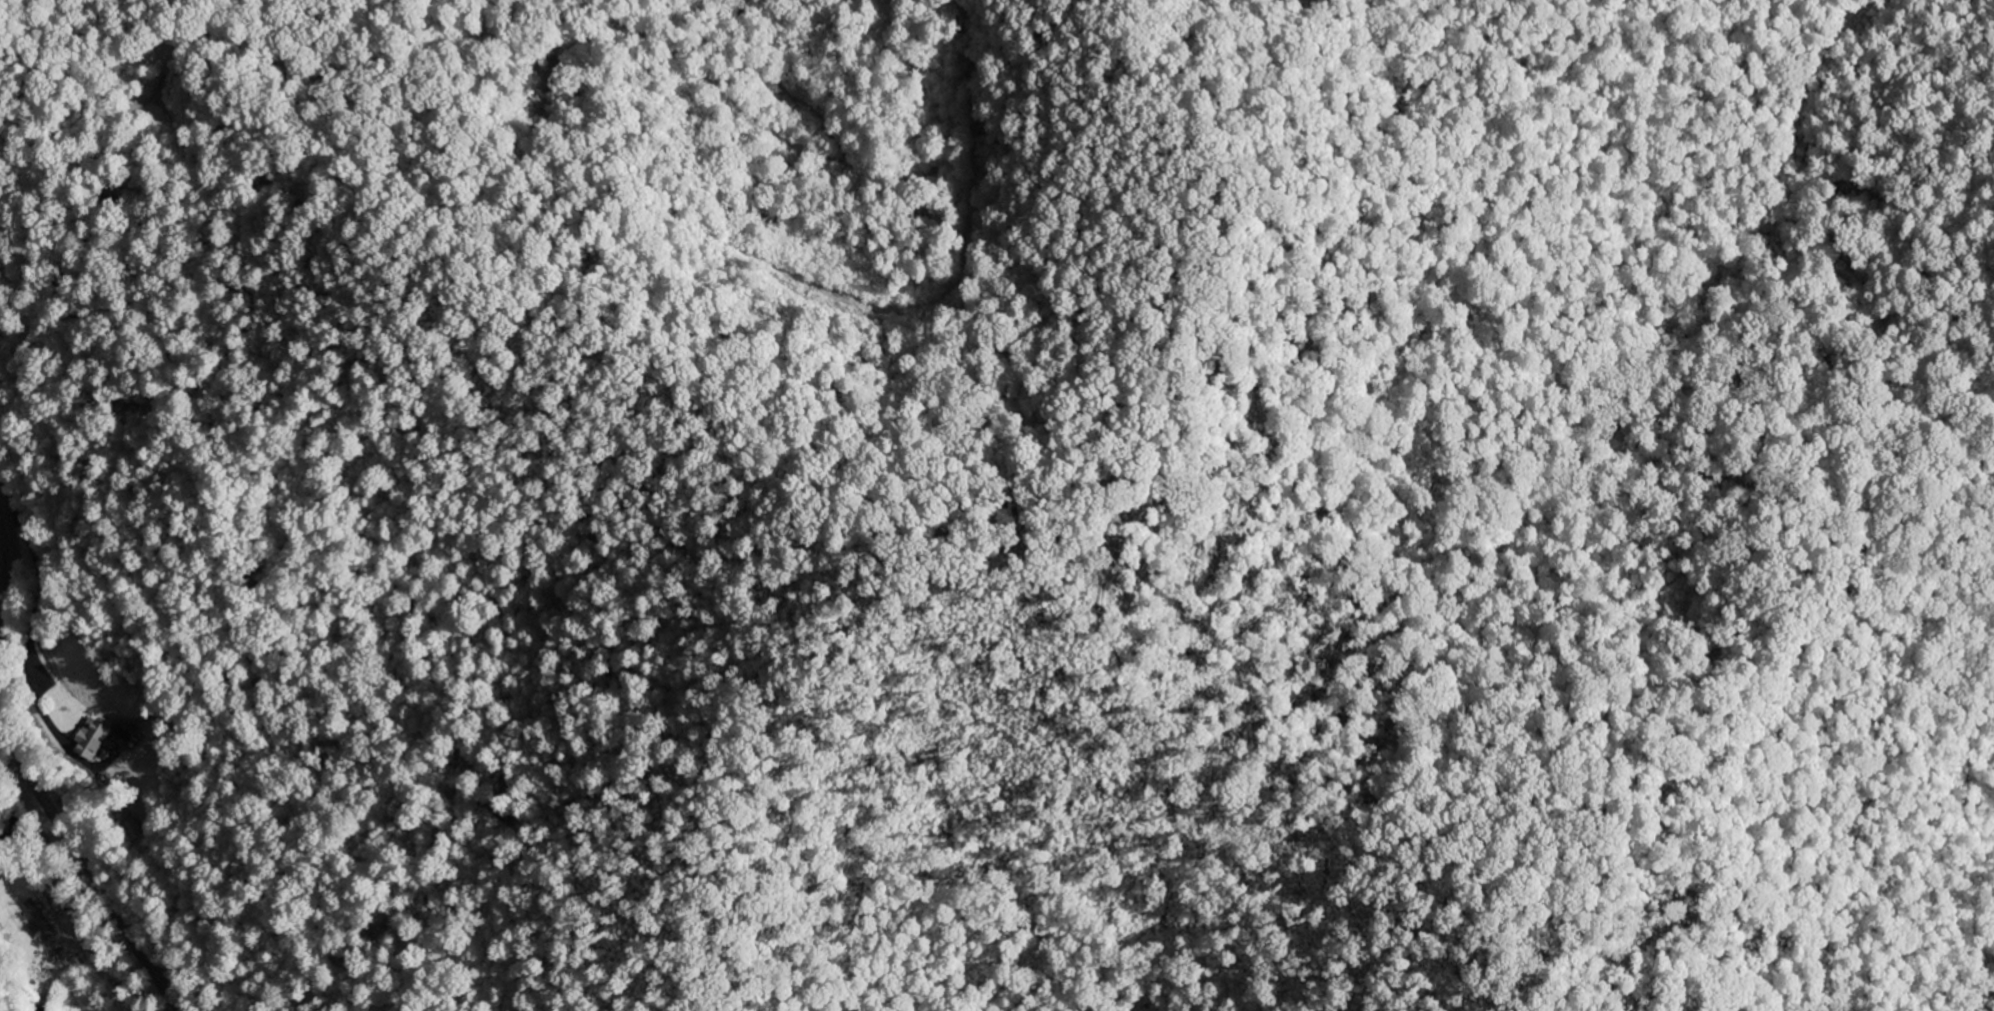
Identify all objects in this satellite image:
building: (88, 741)
road: (32, 777)
building: (37, 923)

